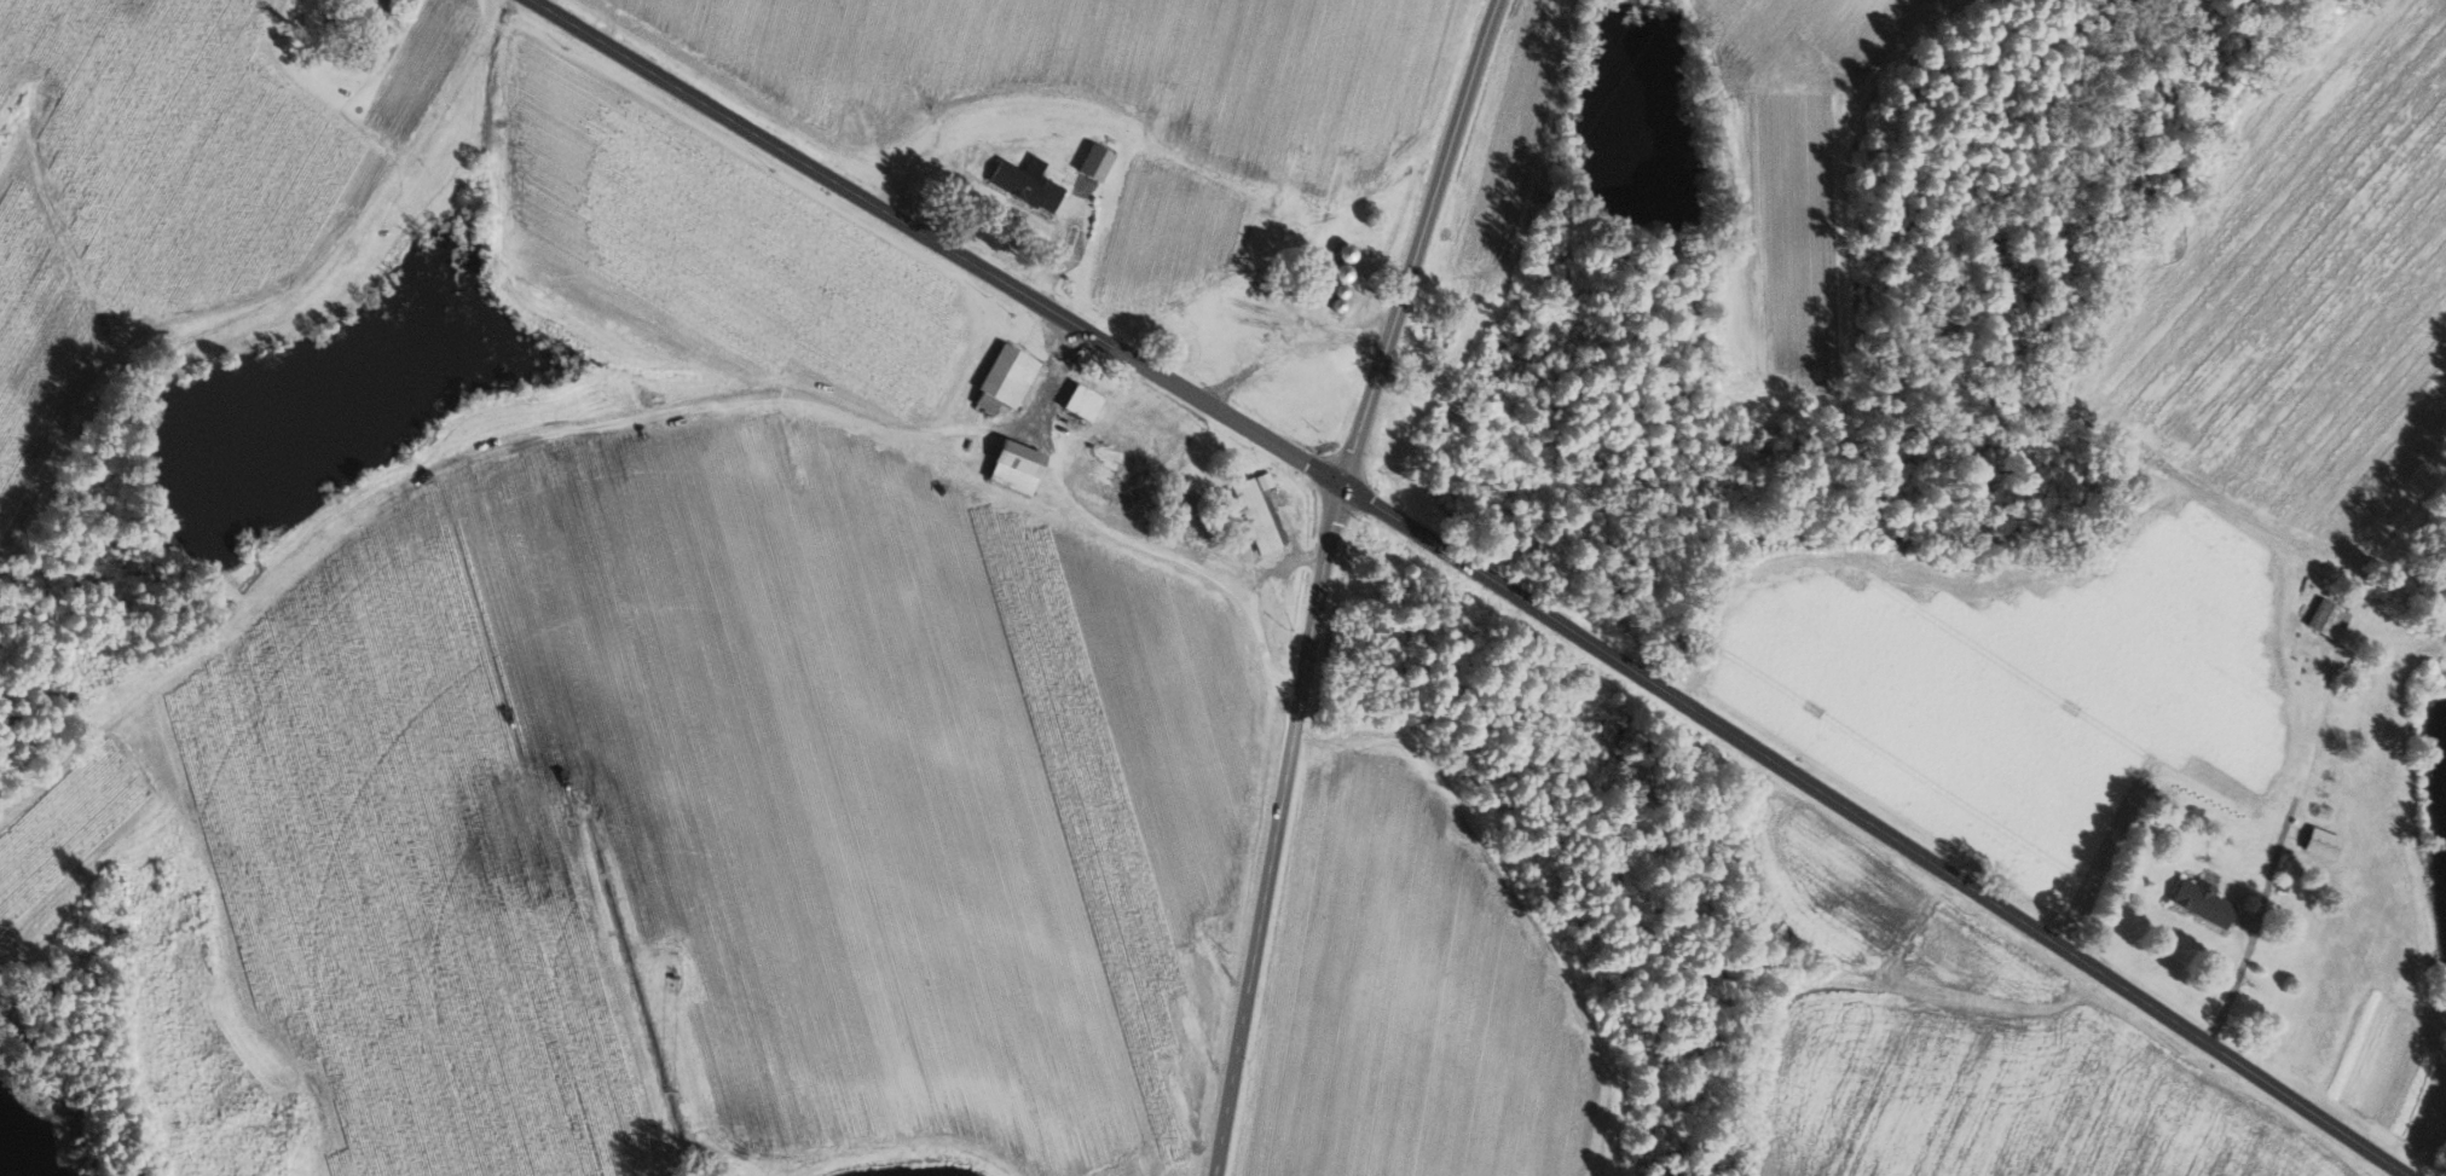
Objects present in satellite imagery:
building: (360, 5)
building: (1097, 163)
building: (1027, 184)
road: (1054, 243)
road: (1080, 243)
building: (1342, 273)
road: (1286, 338)
building: (1006, 380)
building: (1082, 404)
building: (1118, 418)
building: (1099, 463)
building: (1016, 468)
building: (1257, 511)
road: (1123, 535)
road: (1279, 564)
road: (1475, 573)
road: (1322, 579)
building: (2330, 620)
building: (2324, 842)
road: (2271, 881)
building: (2203, 900)

